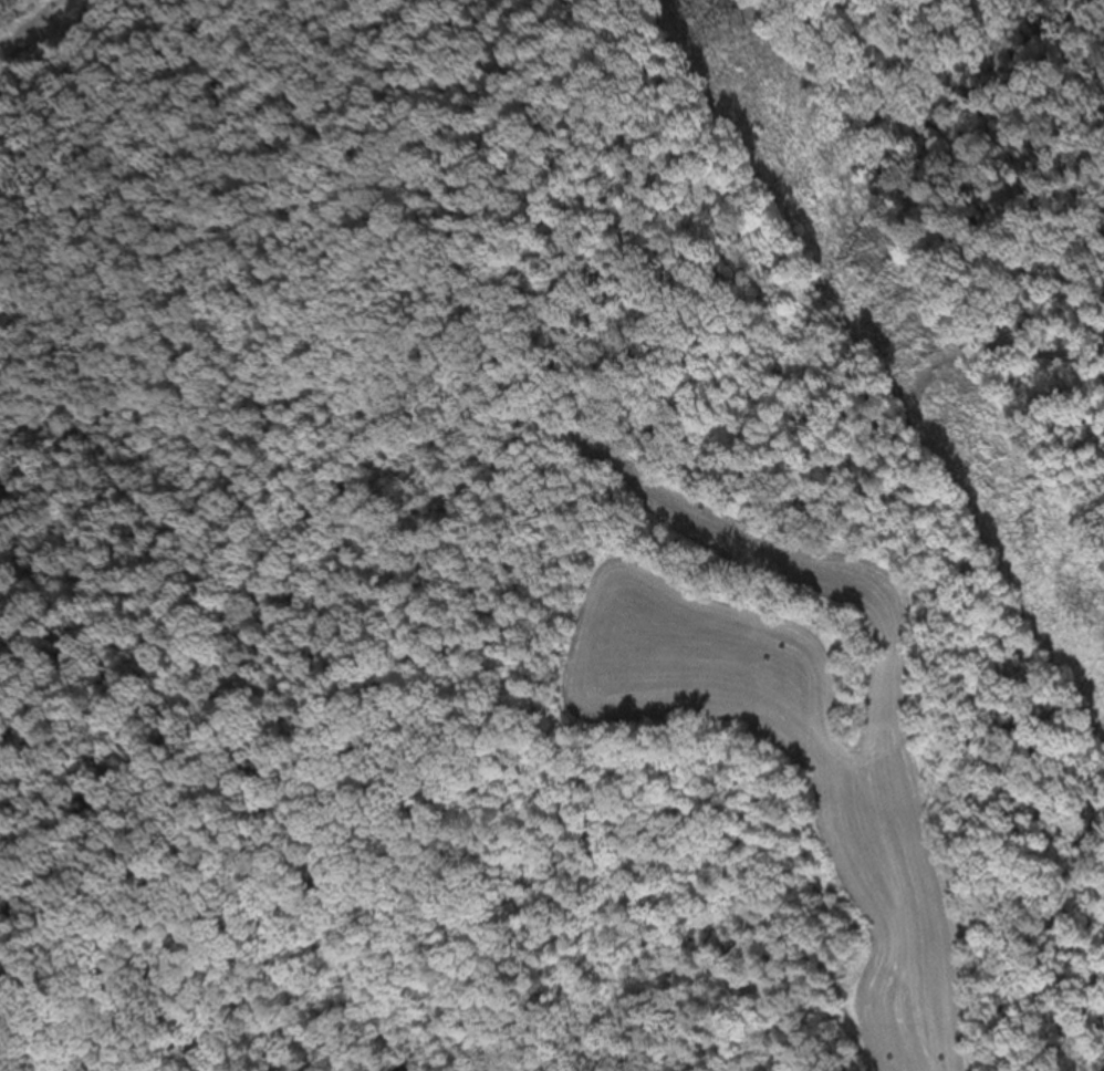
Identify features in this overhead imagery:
power tower: (725, 32)
power tower: (1031, 534)

